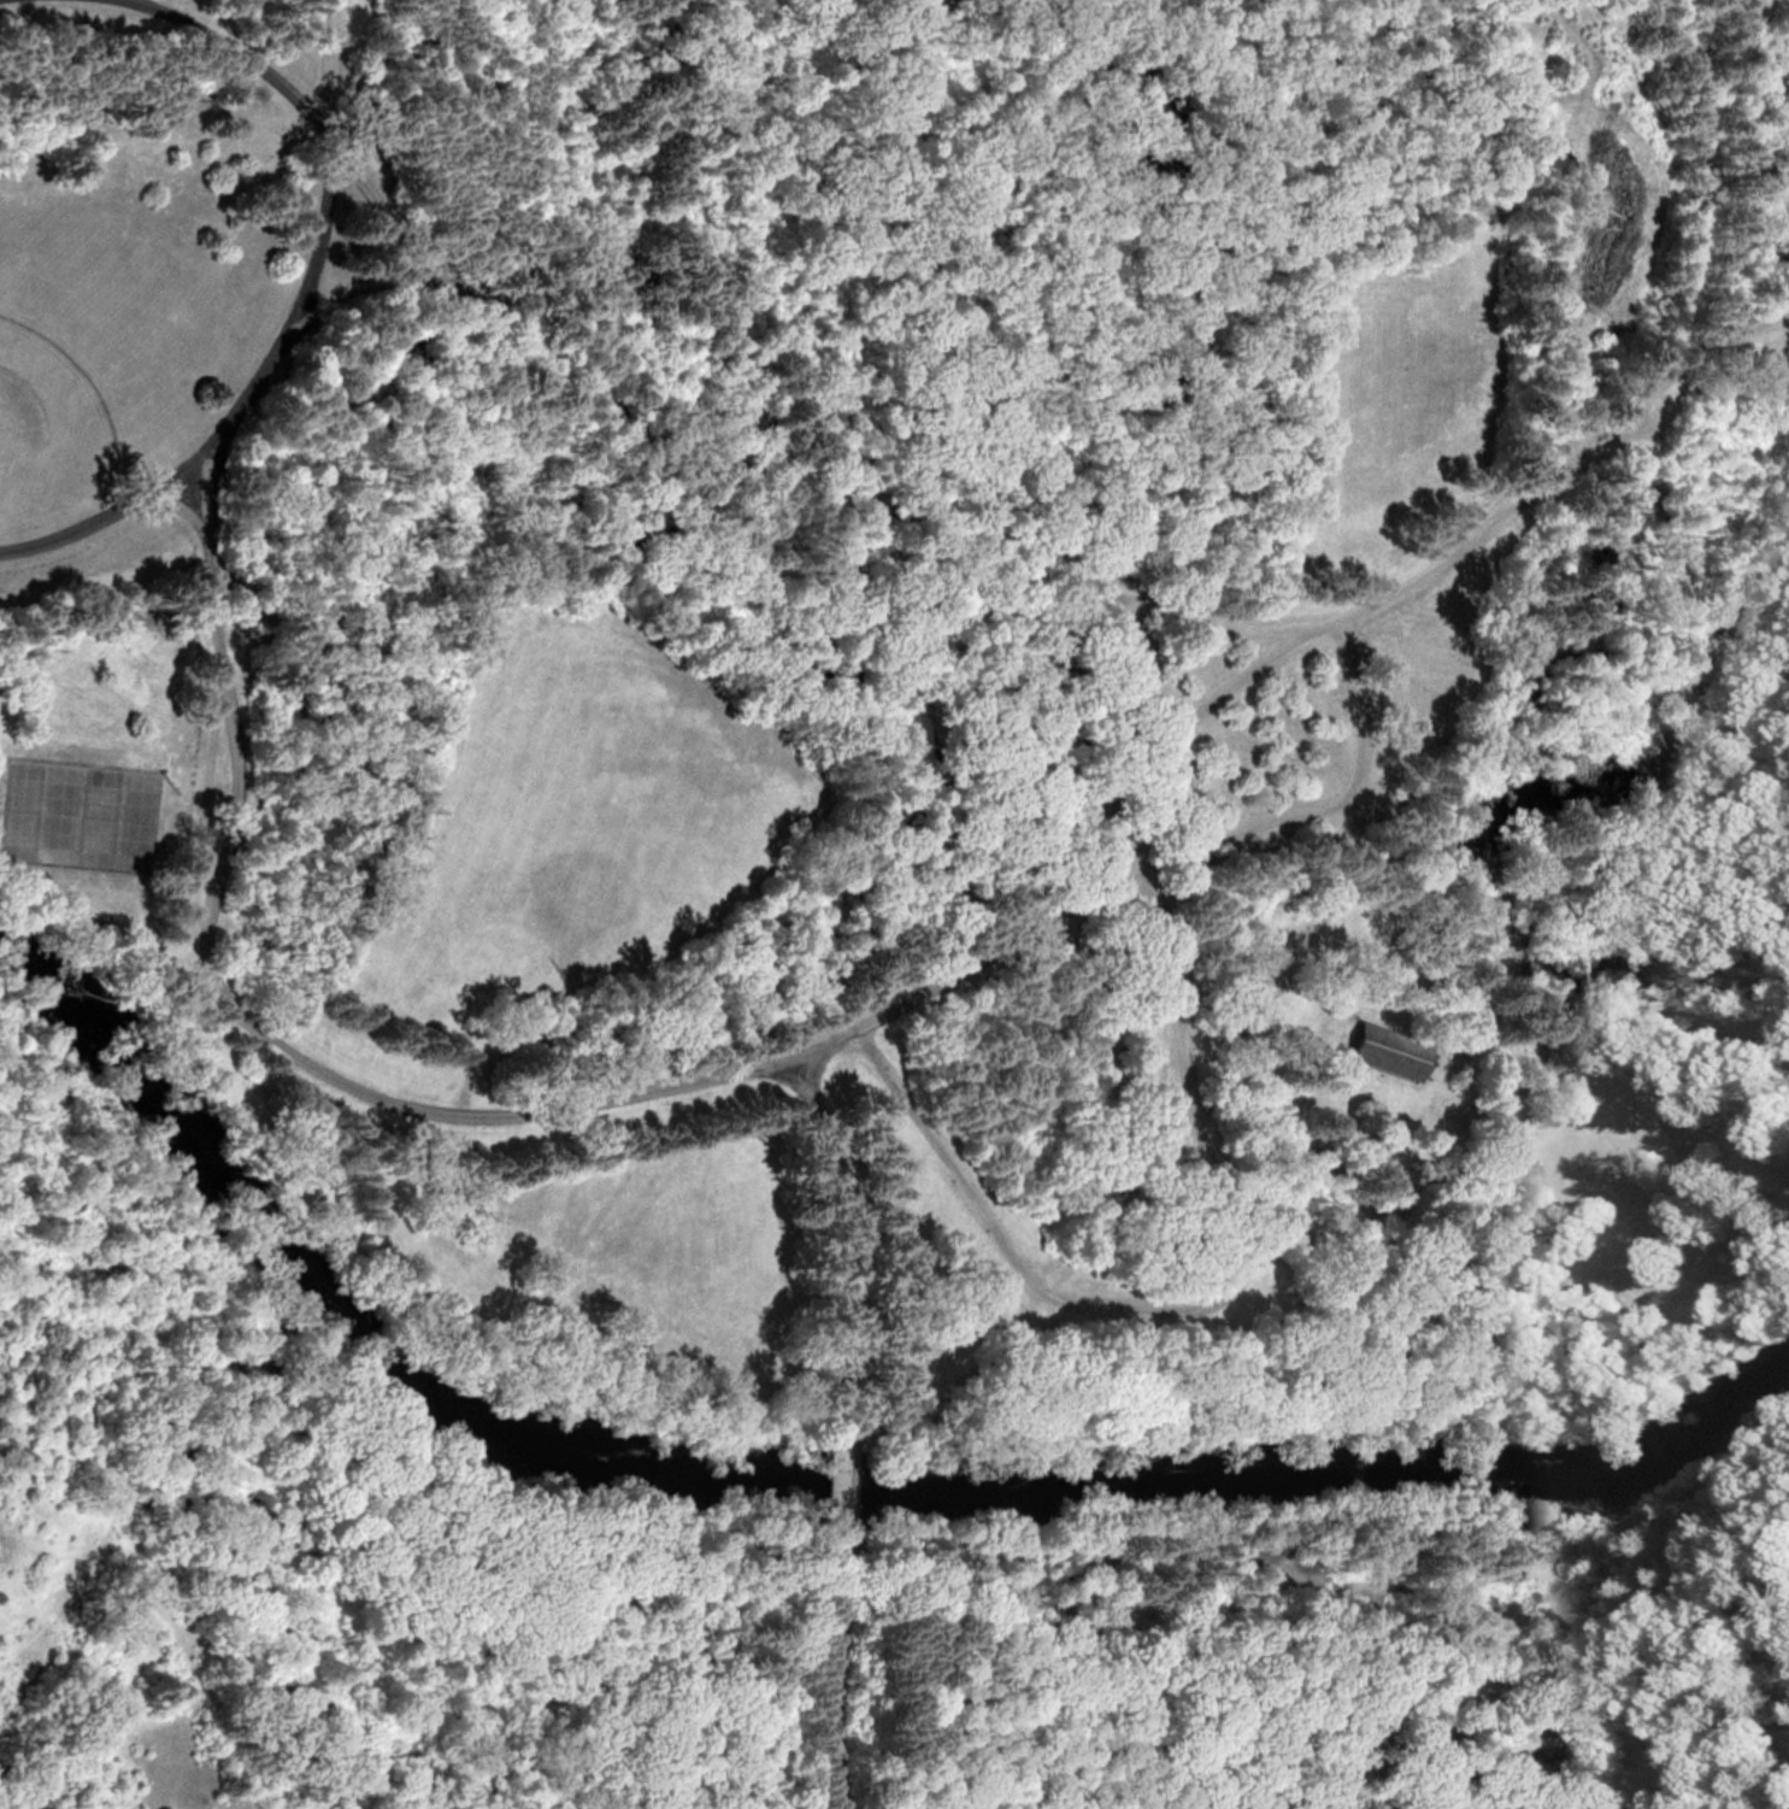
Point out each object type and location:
road: (4, 0)
road: (106, 2)
road: (302, 252)
park: (16, 415)
road: (90, 524)
road: (1450, 557)
road: (1242, 674)
road: (1357, 716)
road: (1076, 889)
park: (894, 904)
road: (99, 917)
road: (1452, 947)
building: (1387, 1053)
road: (840, 1223)
road: (1213, 1303)
road: (840, 1472)
river: (799, 1484)
road: (524, 1528)
road: (1323, 1538)
road: (123, 1581)
road: (1602, 1643)
road: (830, 1676)
road: (69, 1698)
road: (1575, 1746)

